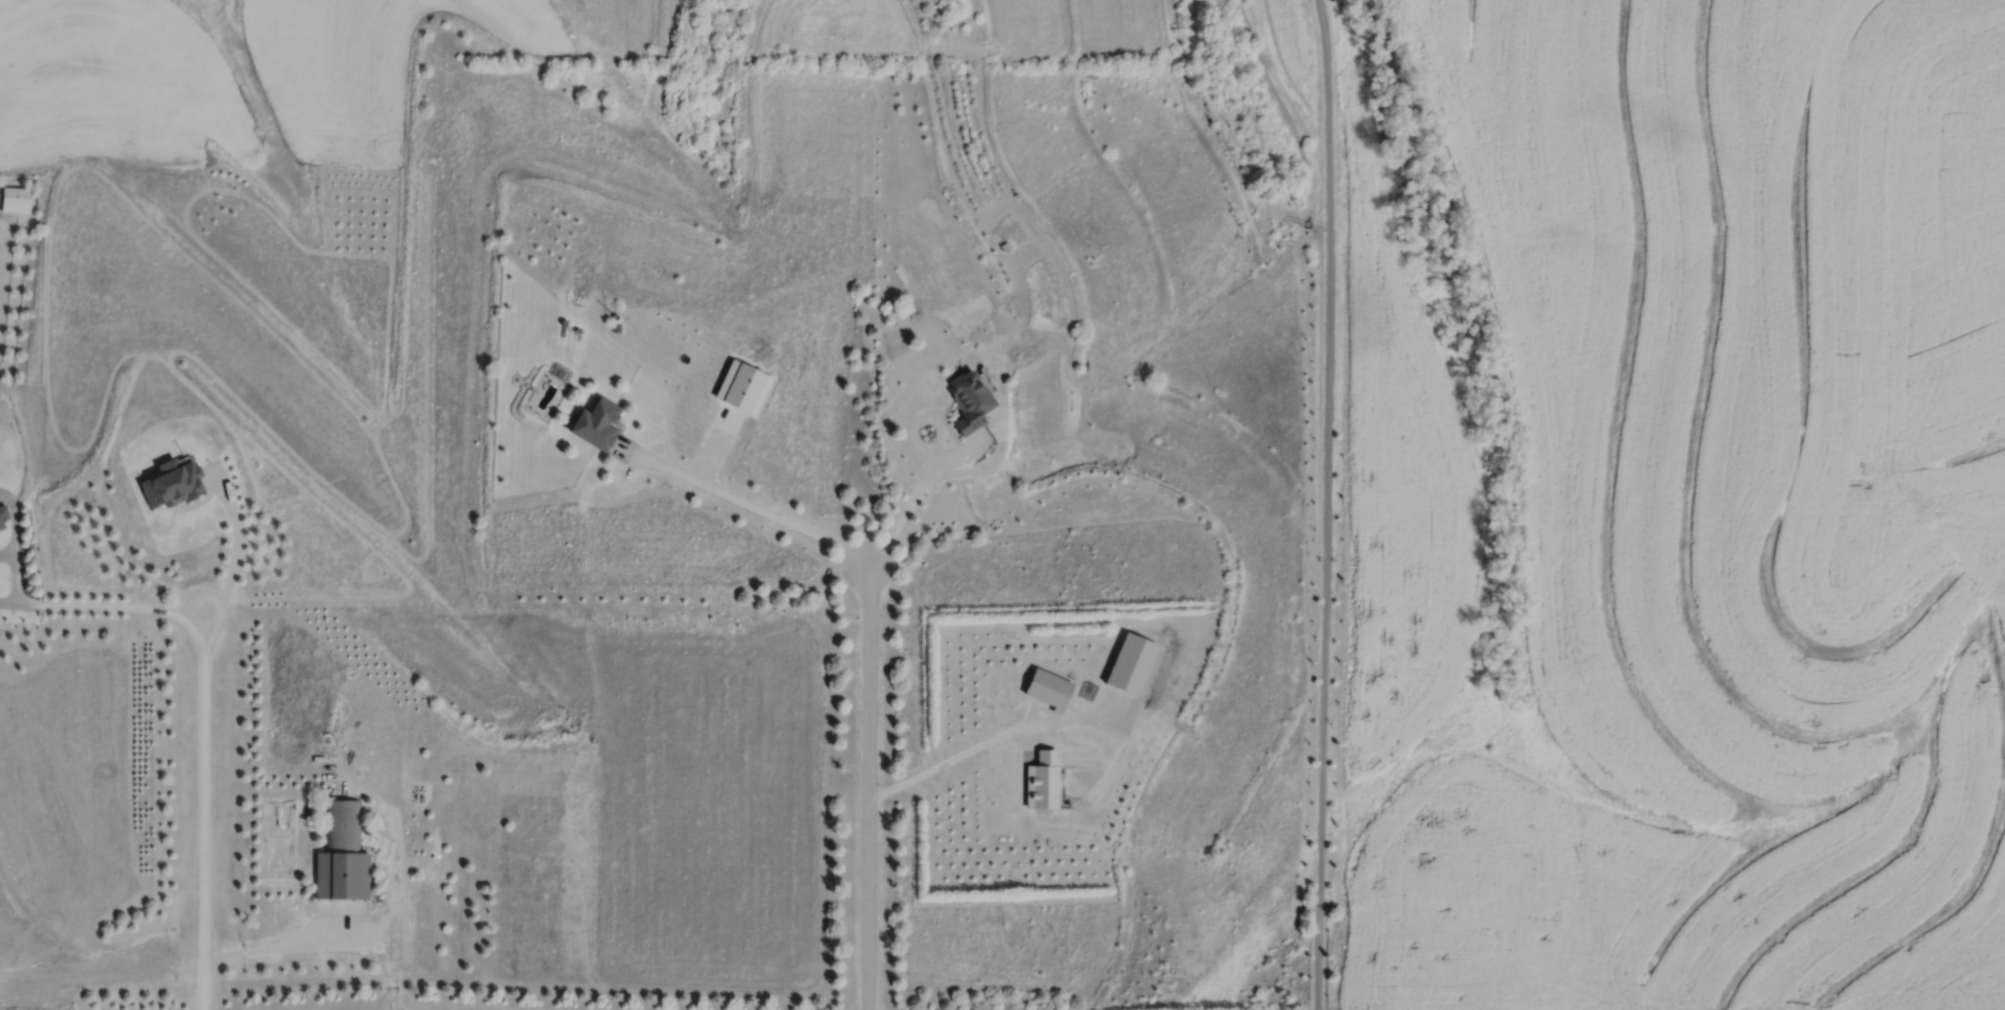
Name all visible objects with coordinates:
road: (11, 360)
building: (971, 401)
road: (922, 415)
building: (597, 425)
road: (715, 443)
road: (963, 447)
road: (985, 466)
road: (929, 471)
road: (211, 479)
road: (742, 500)
road: (1326, 504)
road: (897, 525)
road: (236, 537)
road: (14, 543)
road: (6, 551)
road: (7, 603)
road: (110, 605)
road: (1040, 714)
road: (1046, 735)
road: (994, 737)
road: (867, 787)
road: (205, 810)
building: (342, 854)
road: (392, 883)
road: (296, 938)

